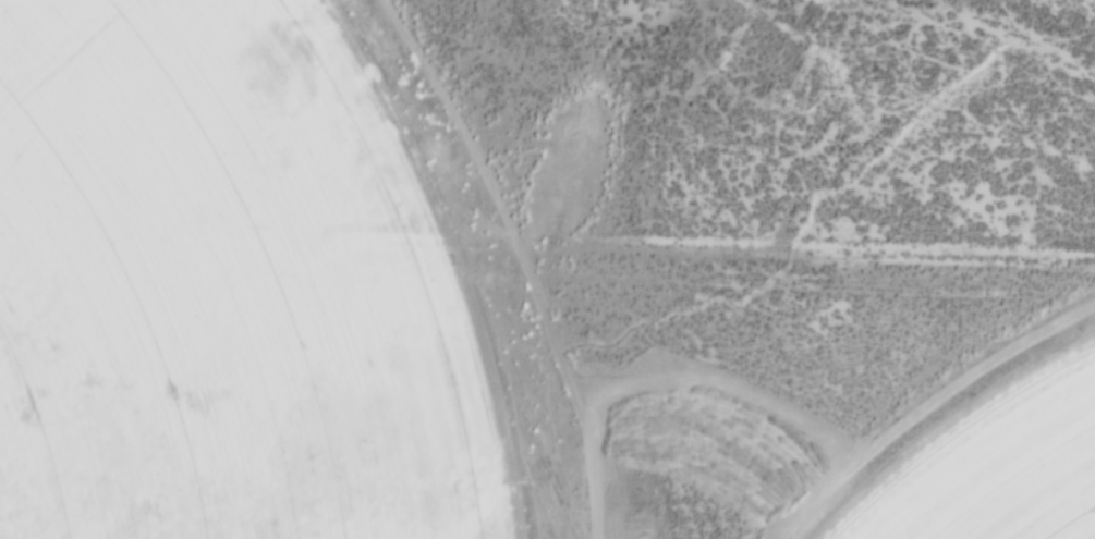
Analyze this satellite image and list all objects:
crop: (218, 290)
crop: (990, 465)

